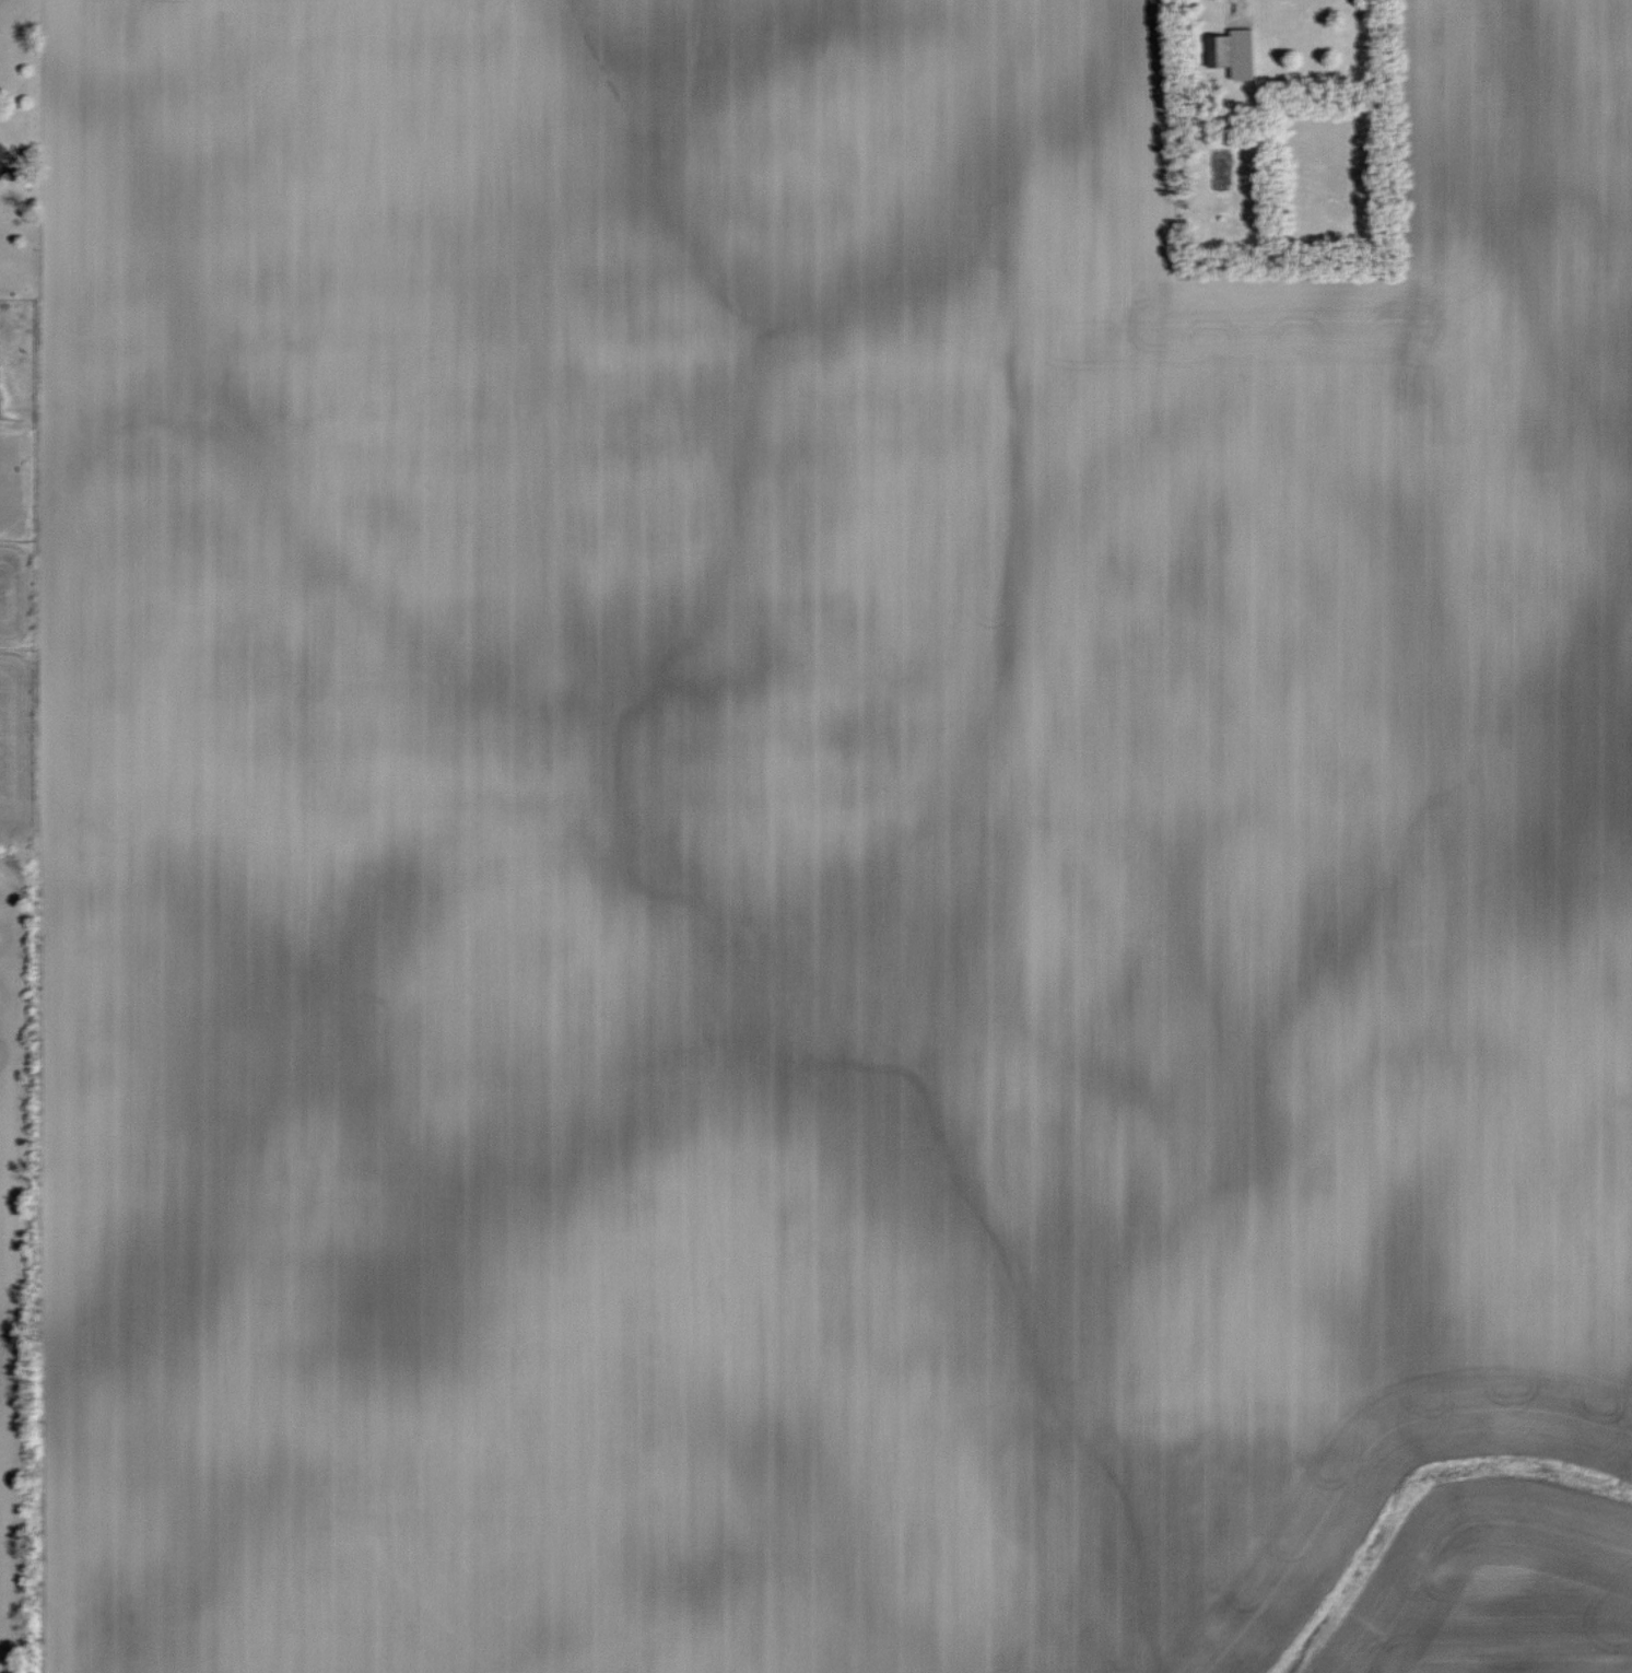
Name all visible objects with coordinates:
building: (1240, 52)
building: (2, 153)

